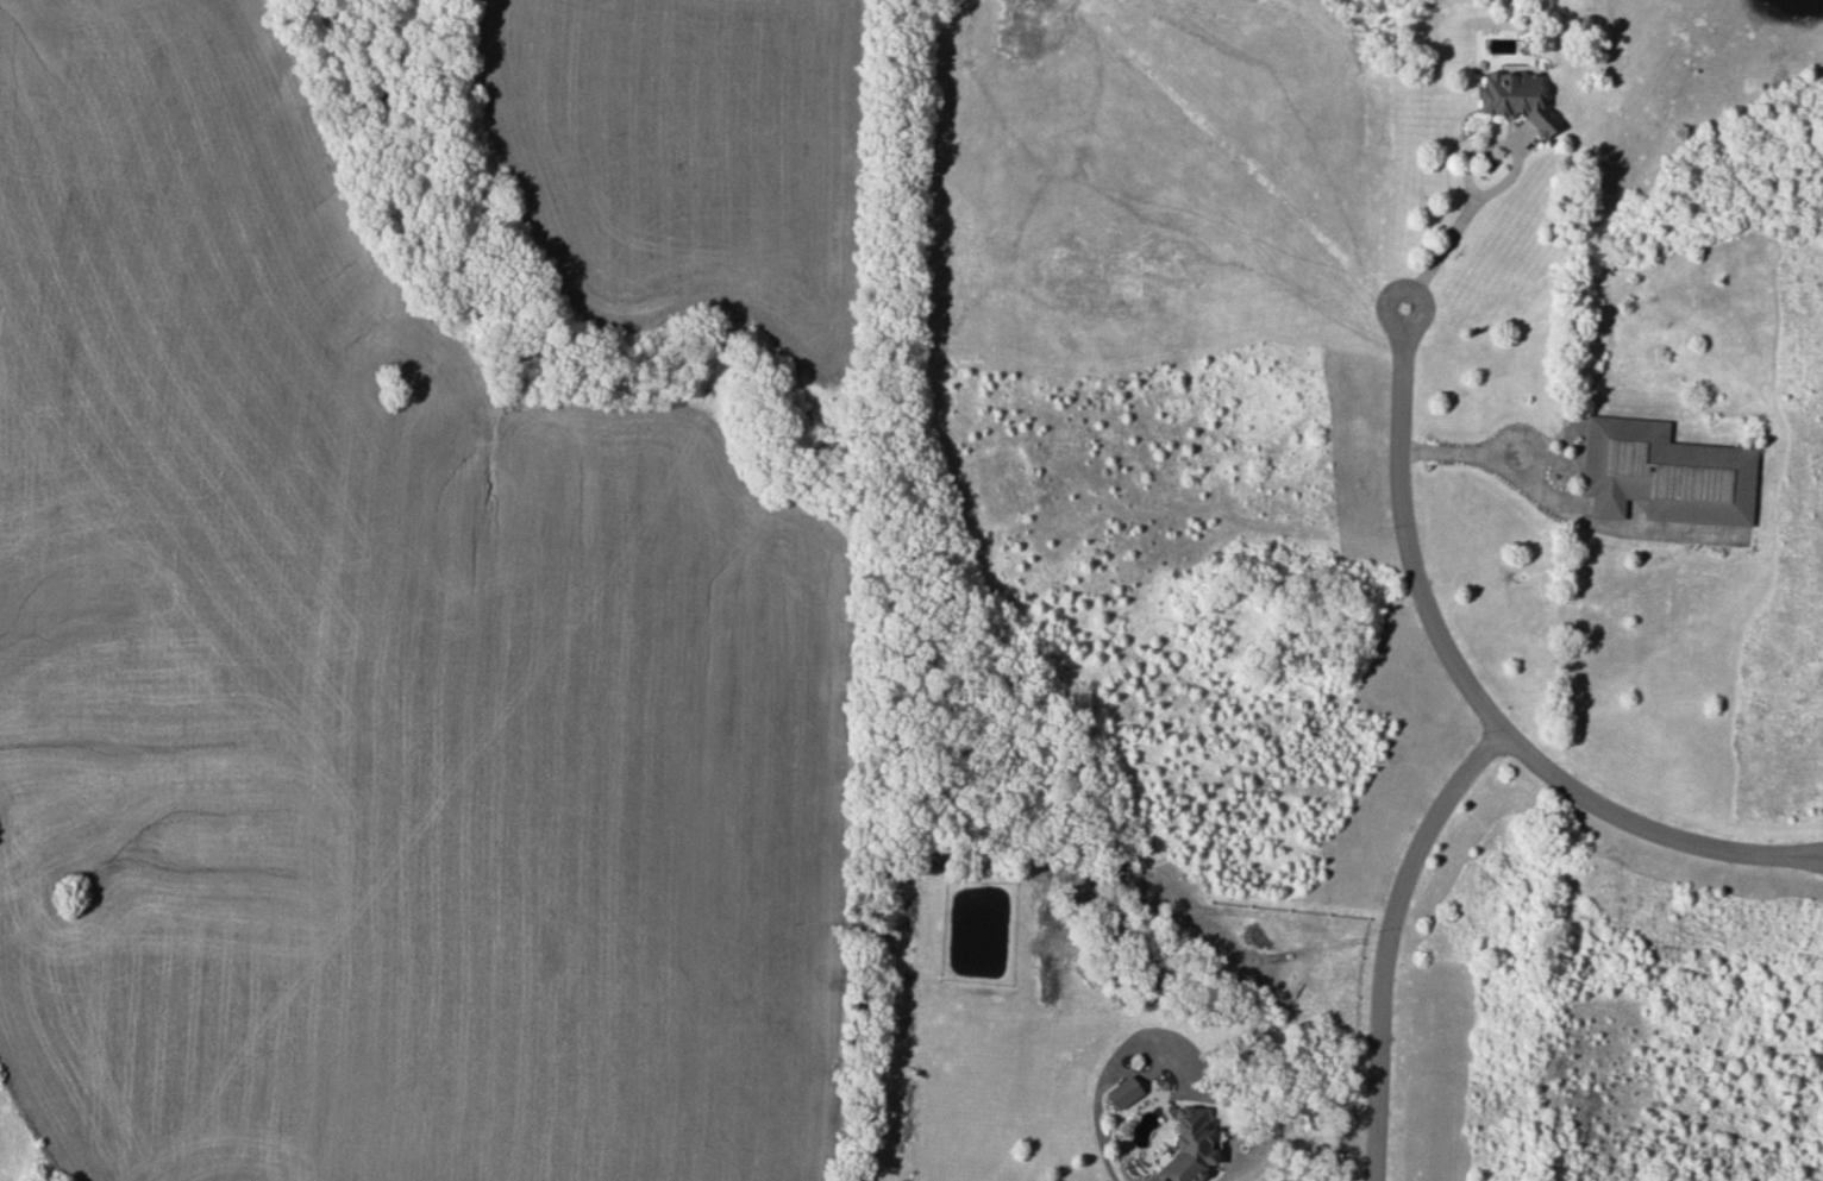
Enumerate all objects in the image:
building: (1515, 98)
crop: (684, 156)
road: (1486, 190)
road: (1503, 469)
building: (1664, 473)
crop: (372, 685)
road: (1476, 690)
road: (1387, 936)
building: (1122, 1091)
road: (1293, 1143)
building: (1184, 1148)

